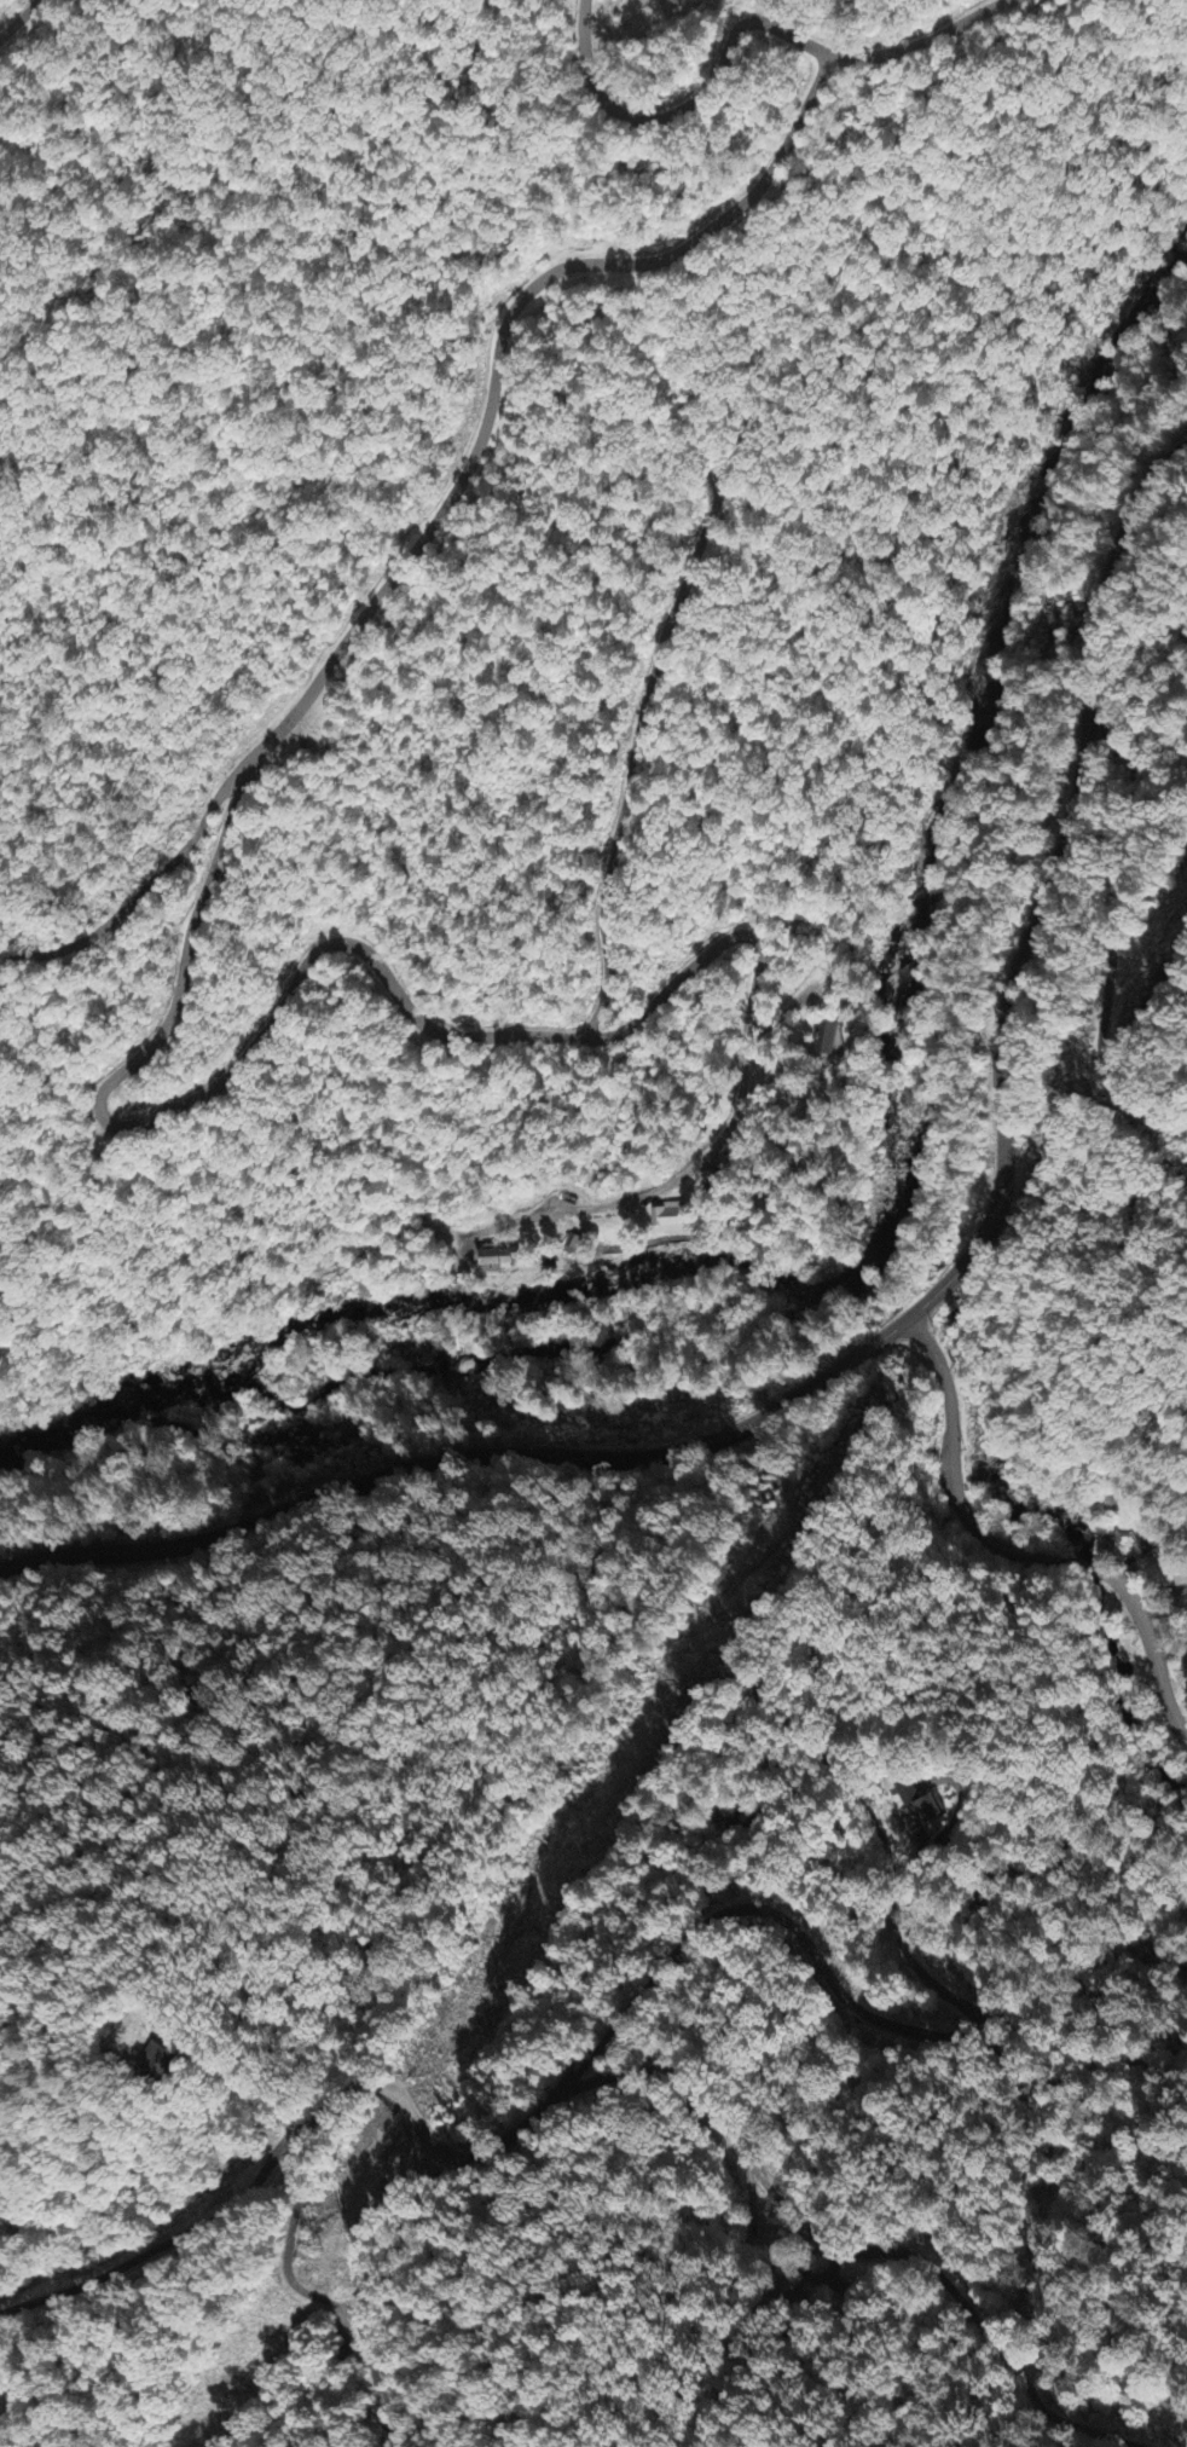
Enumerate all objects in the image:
road: (16, 15)
road: (920, 41)
road: (687, 106)
river: (1006, 771)
road: (143, 892)
road: (1110, 932)
building: (827, 1041)
road: (109, 1081)
building: (667, 1219)
building: (498, 1260)
road: (904, 1321)
river: (452, 1350)
building: (1147, 1544)
road: (1019, 1555)
building: (920, 1805)
road: (879, 1828)
road: (834, 1986)
road: (297, 2135)
road: (422, 2137)
road: (847, 2252)
road: (317, 2400)

